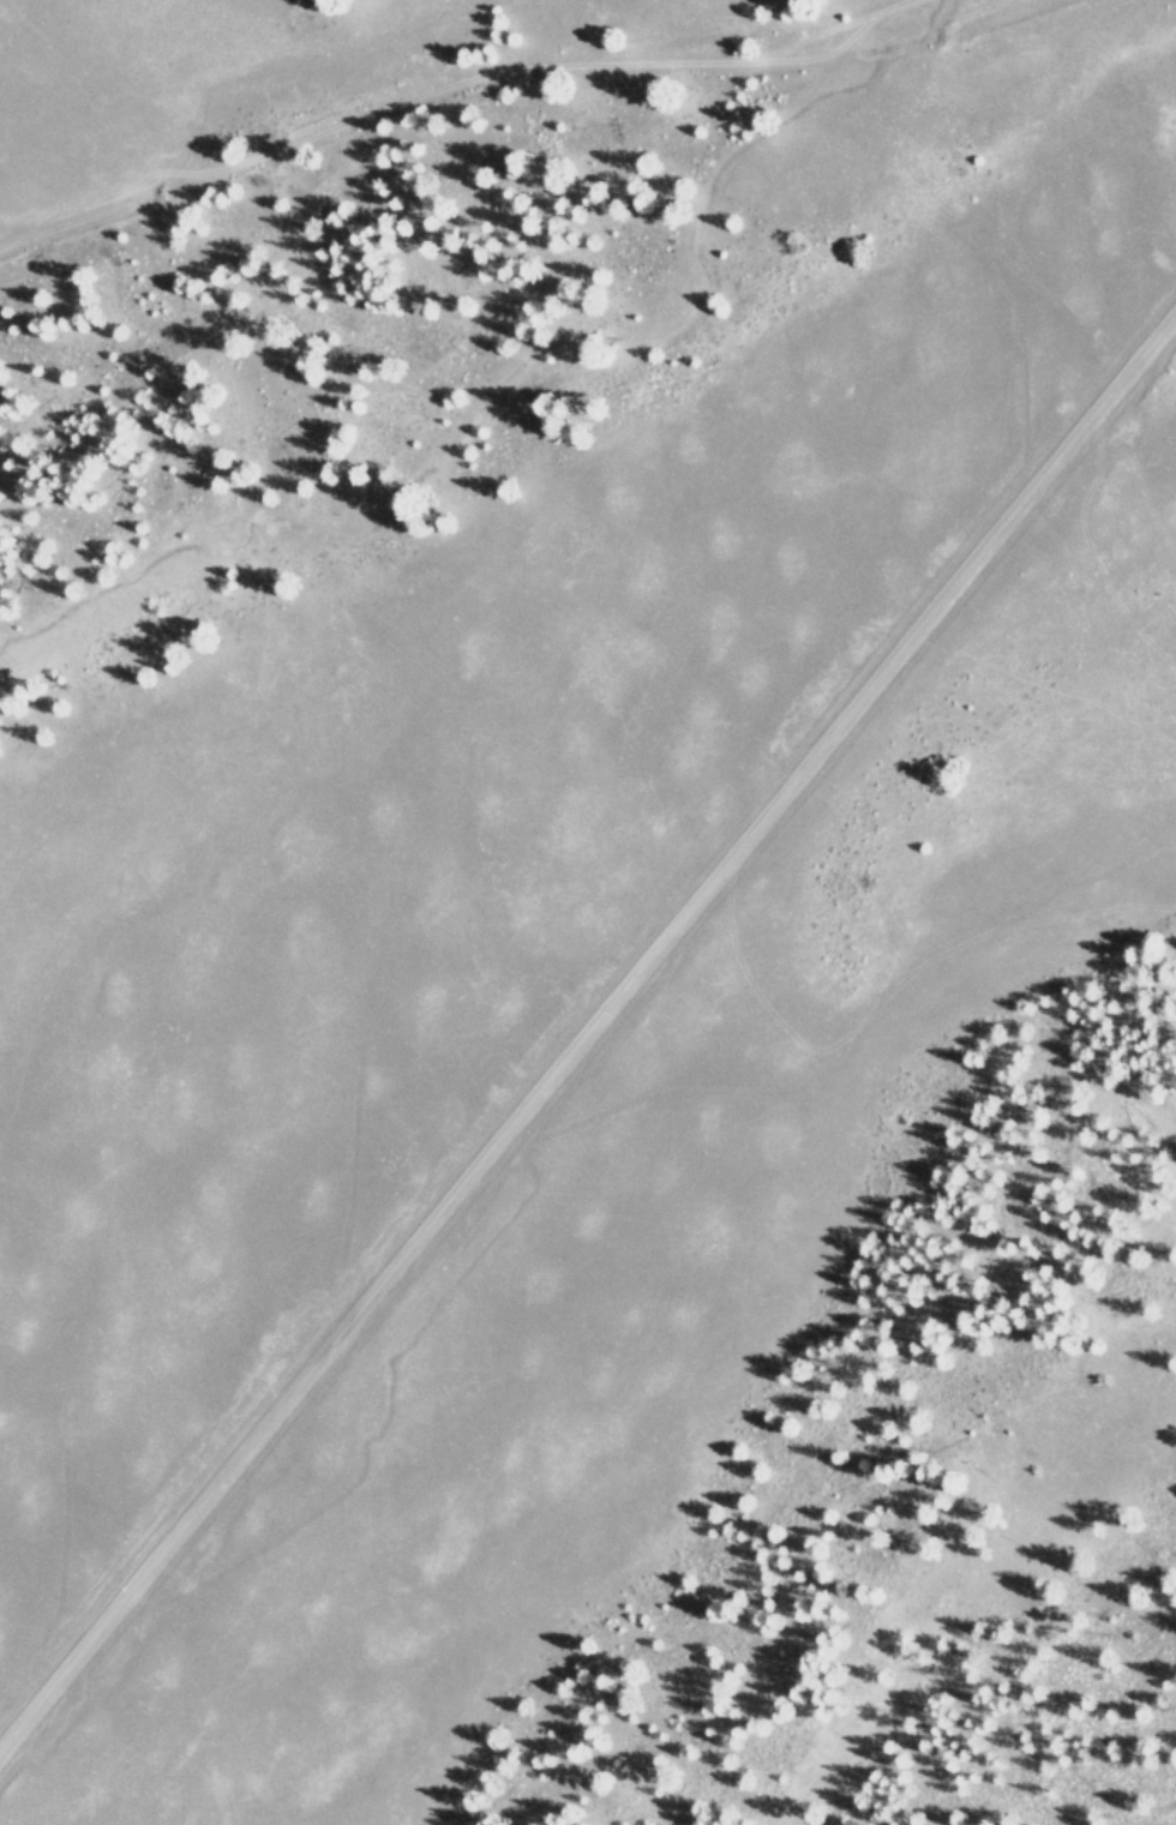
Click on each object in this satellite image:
road: (588, 974)

